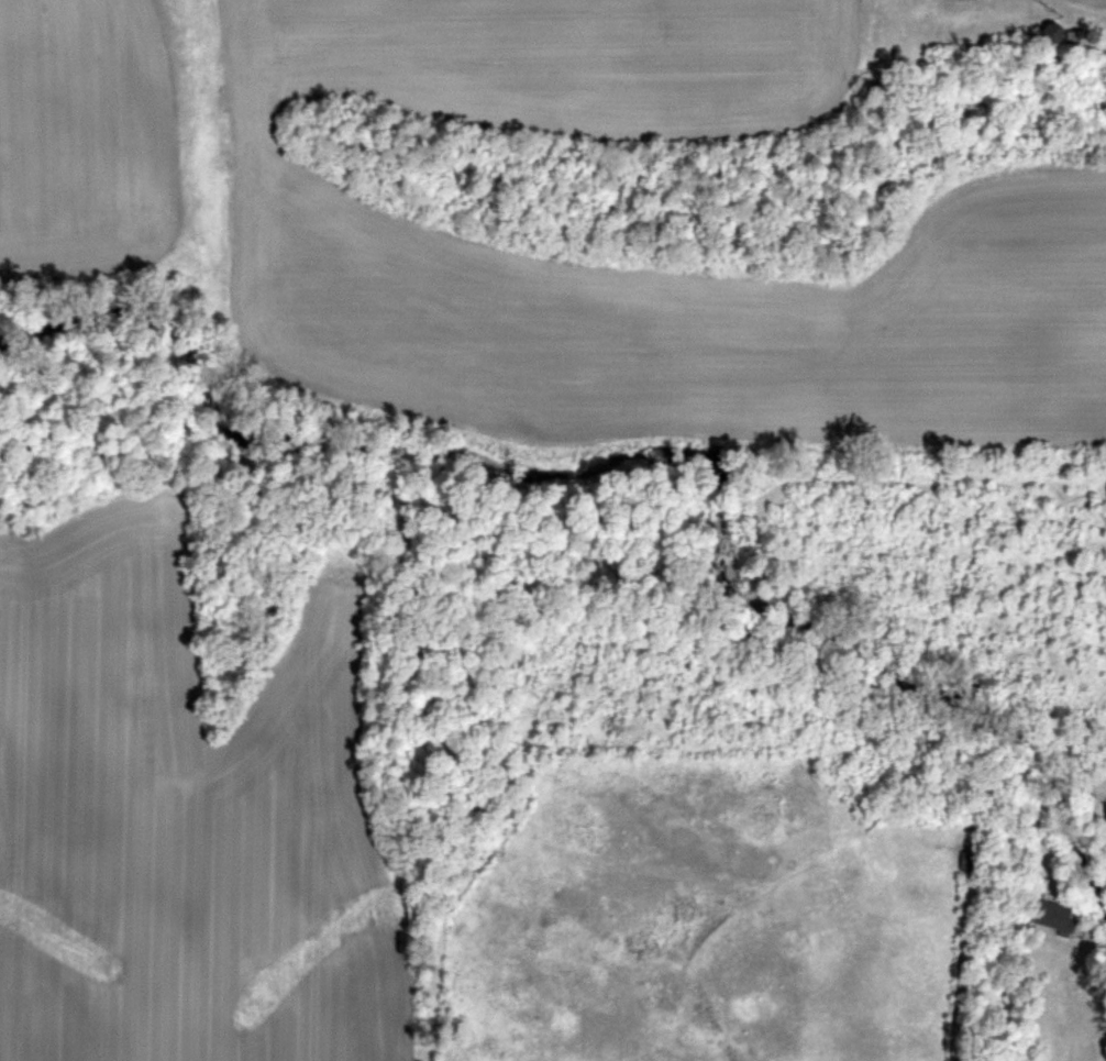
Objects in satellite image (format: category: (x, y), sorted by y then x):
road: (1083, 8)

